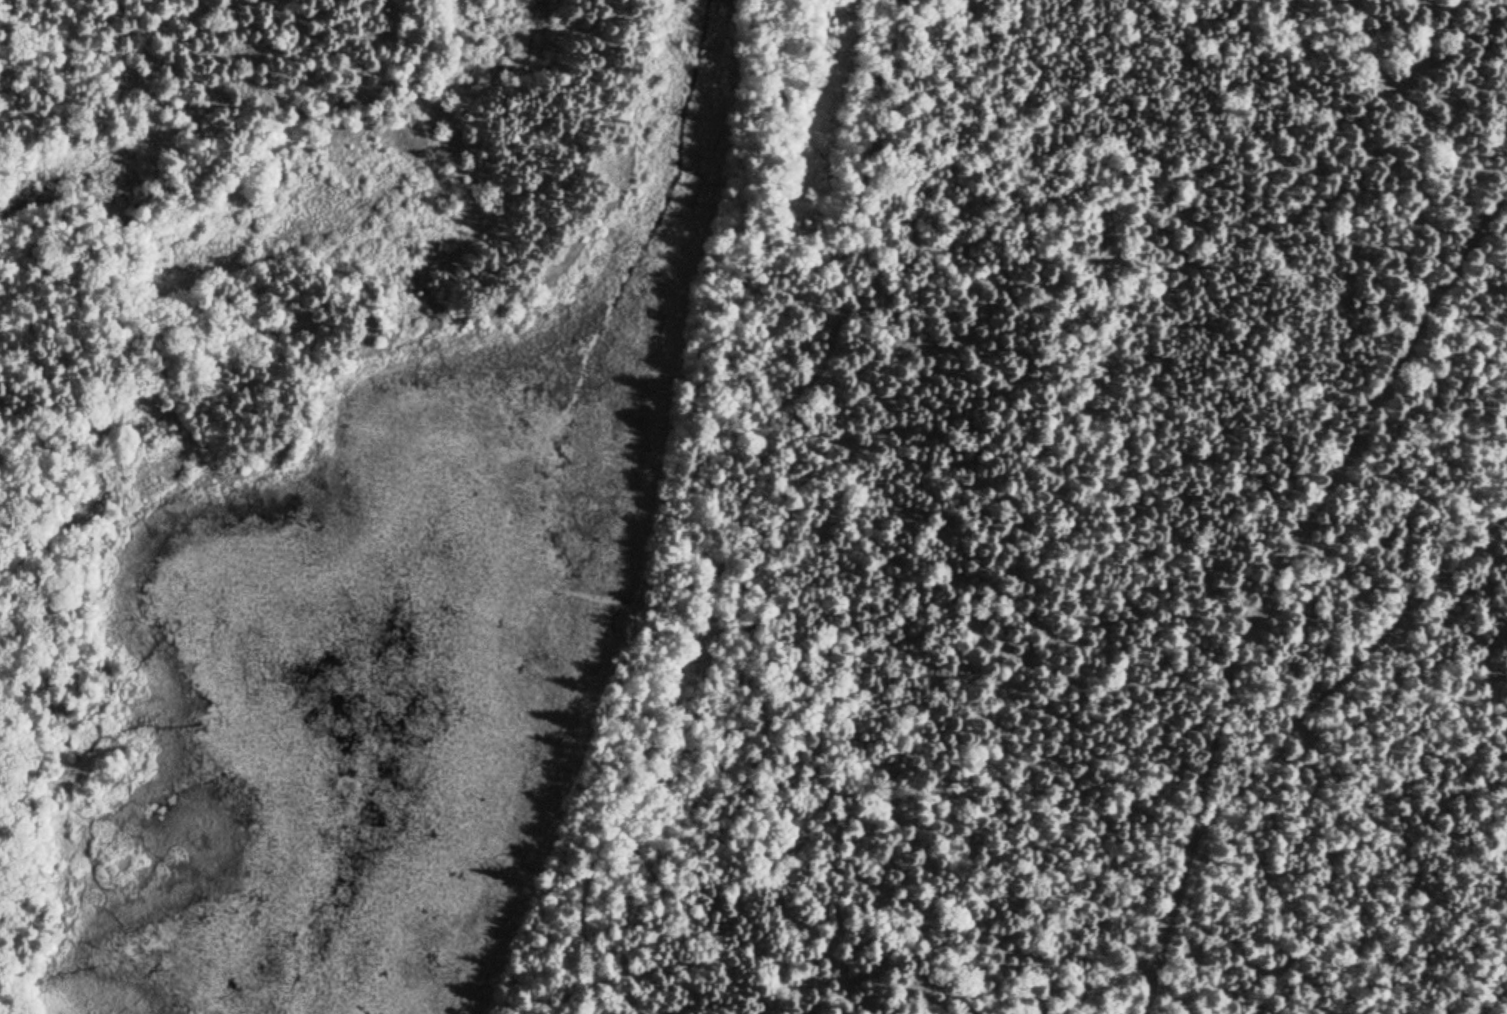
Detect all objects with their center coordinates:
road: (1323, 491)
road: (1283, 731)

